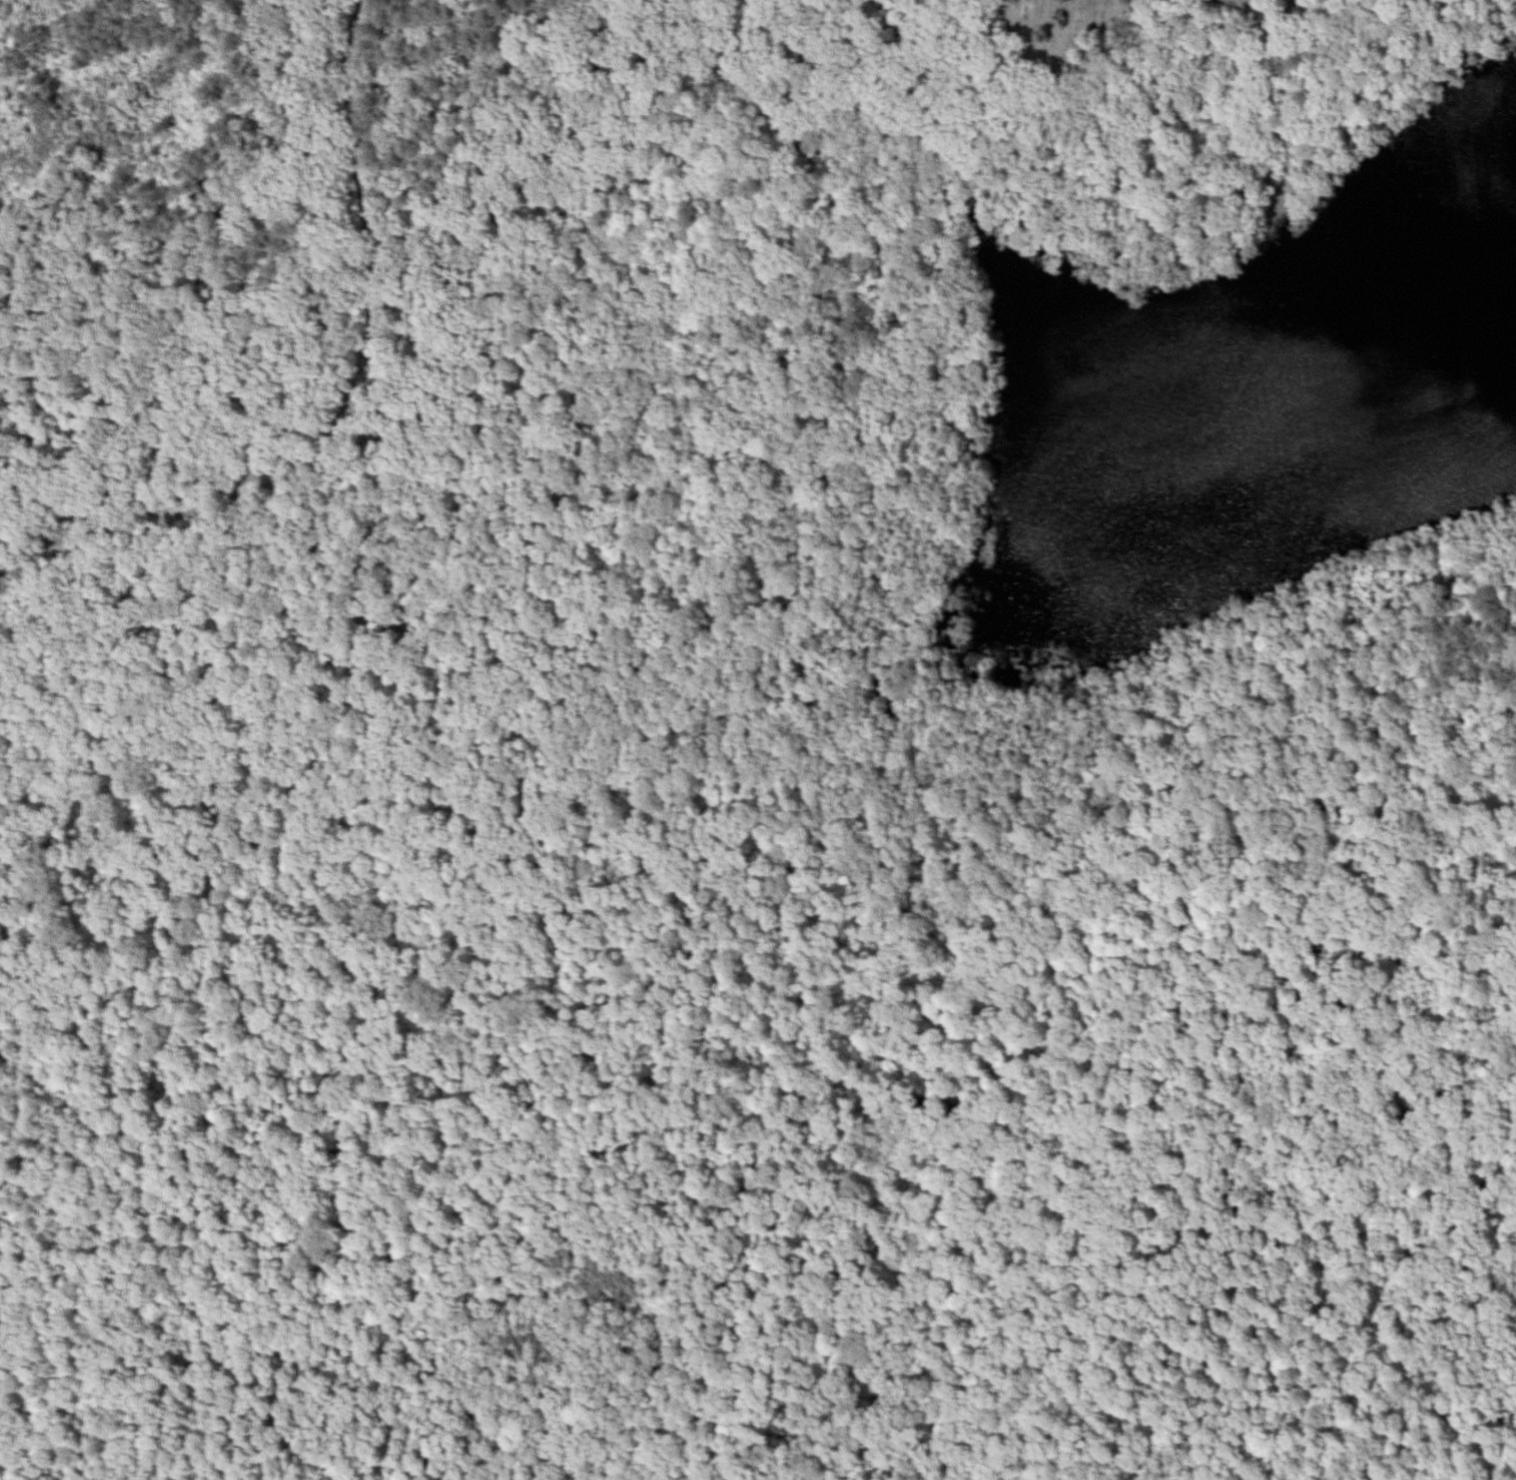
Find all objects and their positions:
park: (1057, 30)
road: (312, 45)
road: (1258, 84)
road: (351, 396)

